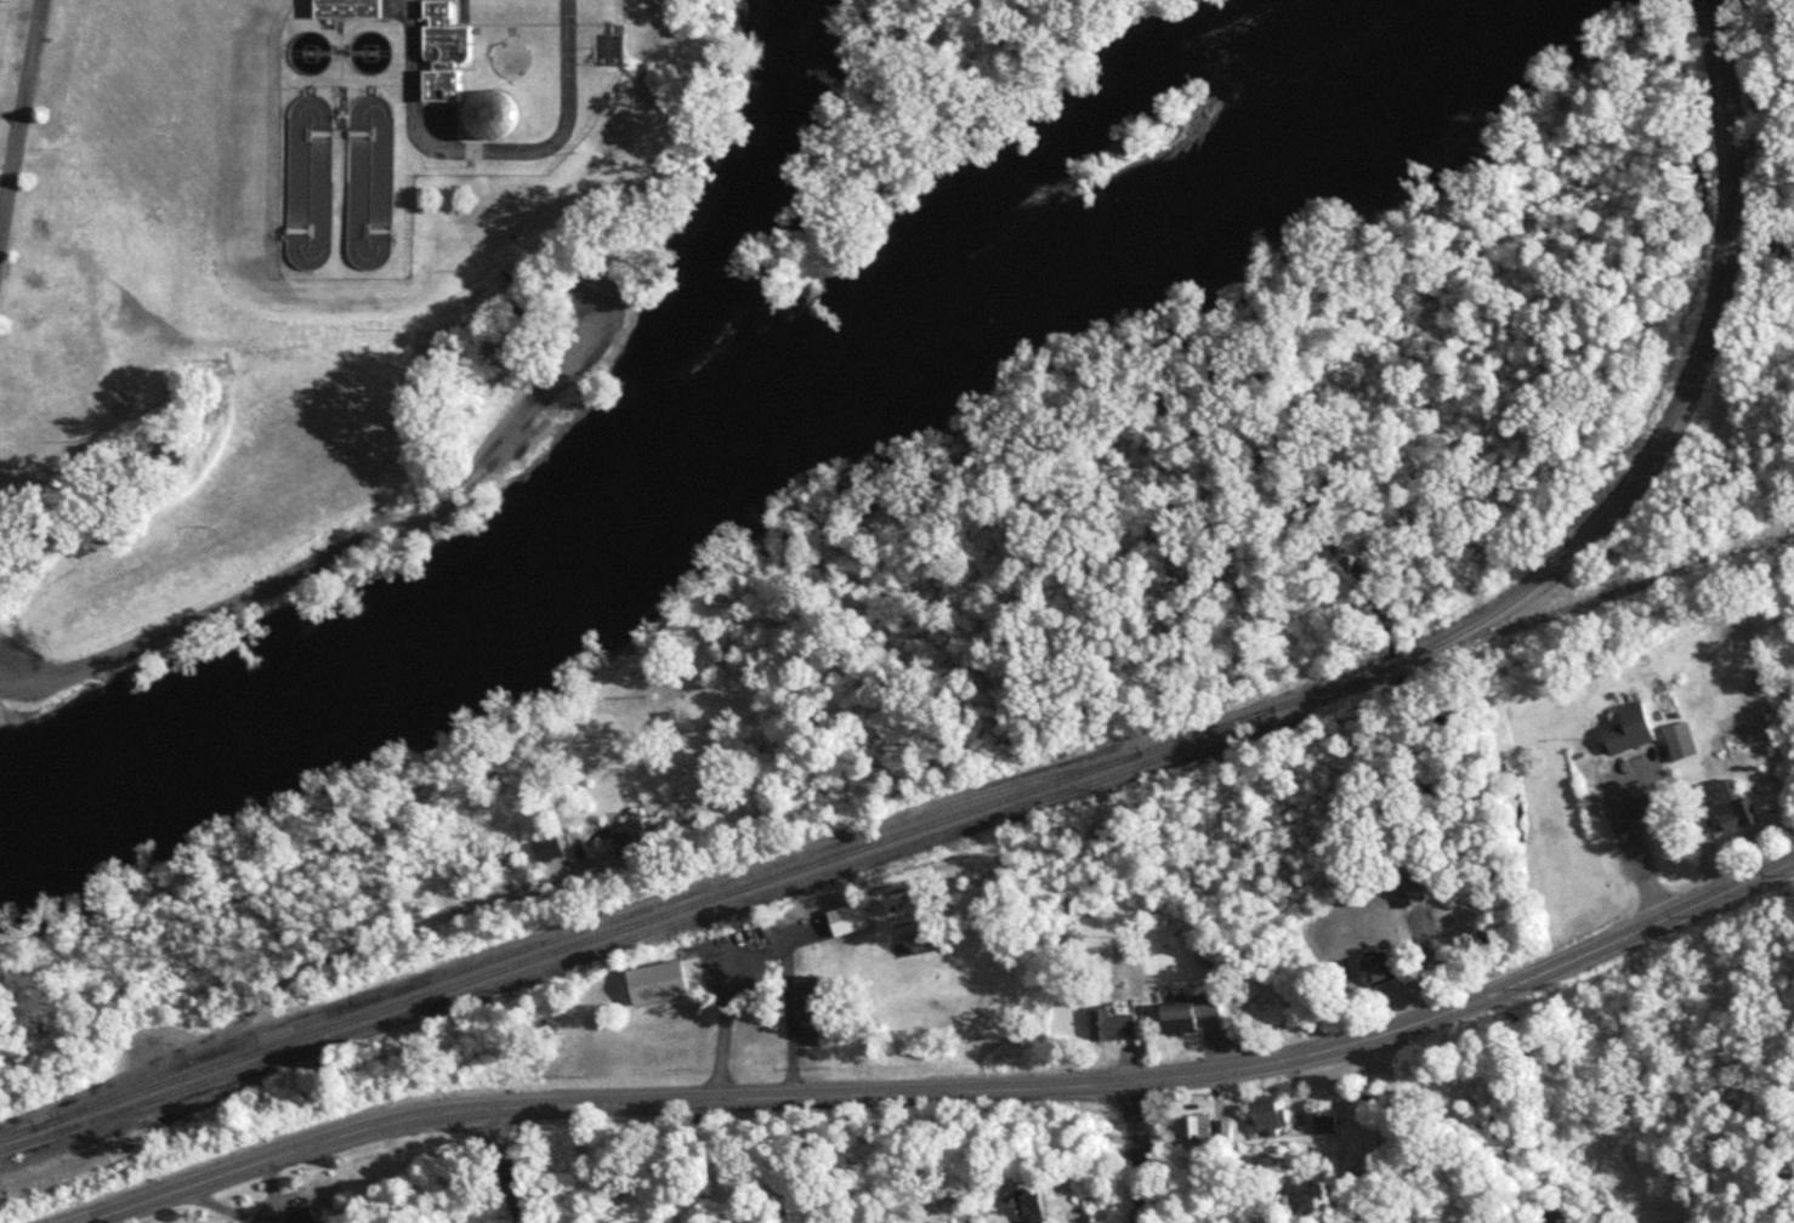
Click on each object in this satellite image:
railway: (1720, 2)
building: (352, 8)
building: (313, 53)
building: (447, 55)
building: (515, 59)
building: (501, 115)
road: (21, 137)
river: (765, 216)
railway: (1680, 414)
river: (746, 420)
road: (337, 559)
building: (1631, 730)
building: (1684, 743)
building: (1737, 807)
building: (635, 838)
road: (1643, 849)
building: (550, 851)
railway: (683, 906)
railway: (577, 931)
railway: (623, 943)
road: (755, 959)
building: (1385, 971)
road: (1476, 1001)
building: (1193, 1014)
building: (1117, 1028)
road: (606, 1105)
building: (1272, 1120)
building: (1327, 1124)
building: (1200, 1131)
building: (1224, 1133)
road: (1141, 1153)
road: (509, 1166)
building: (318, 1205)
building: (1039, 1208)

